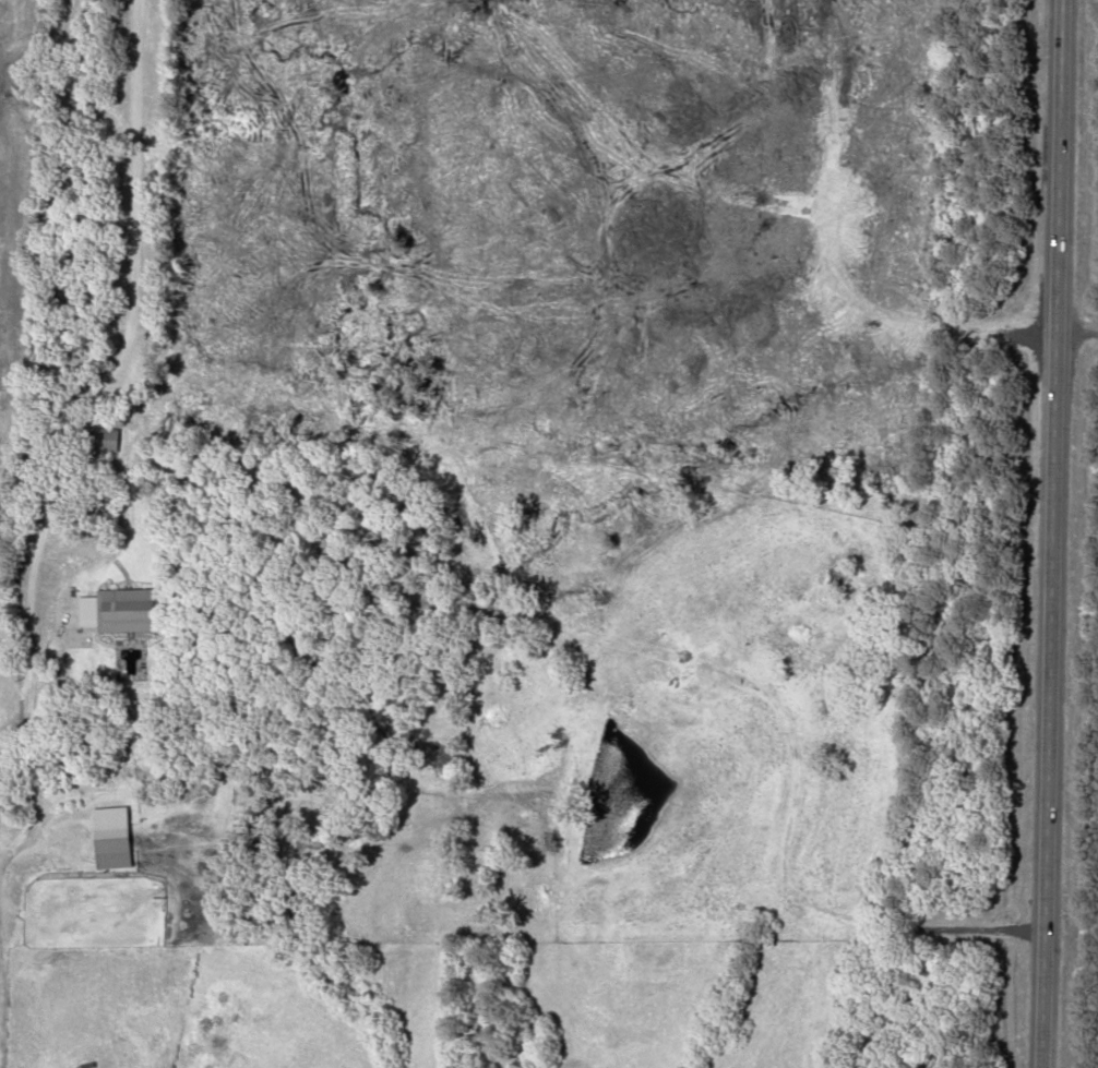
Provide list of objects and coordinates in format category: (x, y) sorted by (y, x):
building: (106, 441)
road: (1050, 533)
building: (130, 612)
building: (115, 840)

